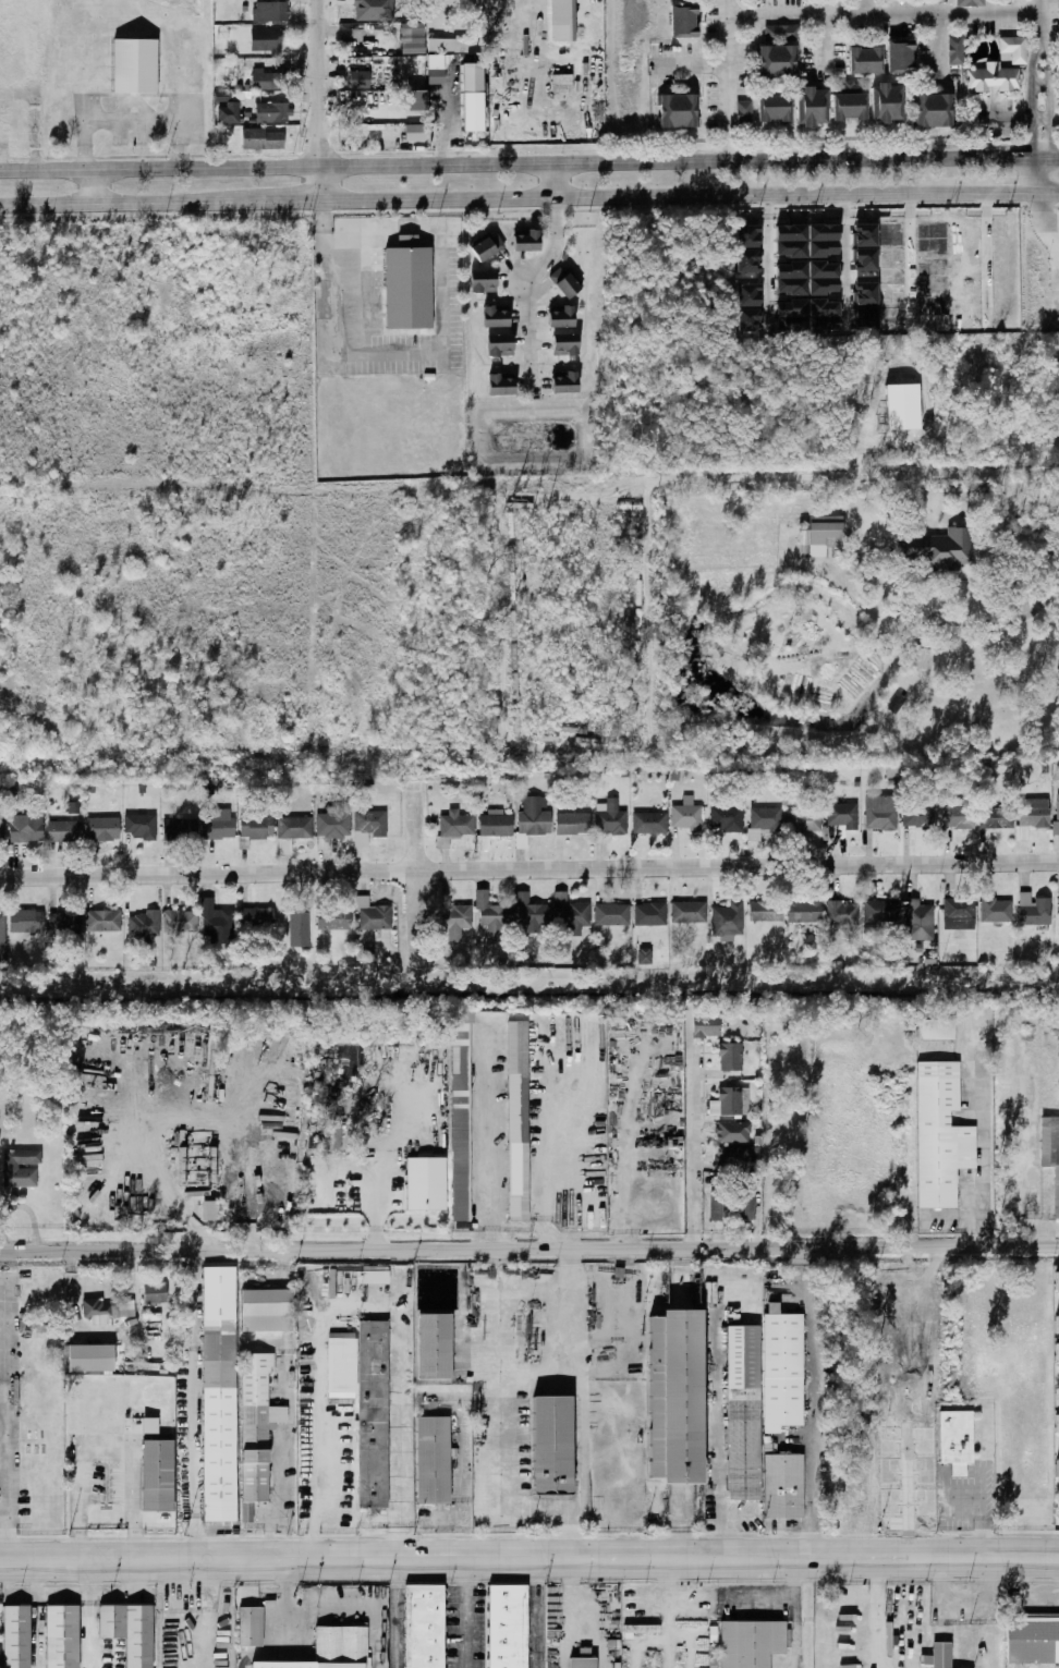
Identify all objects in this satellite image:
building: (969, 3)
building: (373, 10)
road: (728, 10)
road: (1037, 11)
building: (269, 12)
building: (561, 20)
road: (827, 20)
building: (682, 23)
building: (412, 38)
building: (264, 40)
building: (447, 46)
building: (1012, 49)
building: (954, 50)
building: (777, 52)
building: (899, 58)
building: (864, 60)
building: (133, 65)
building: (437, 69)
building: (357, 78)
building: (990, 78)
building: (268, 81)
building: (851, 87)
building: (472, 97)
road: (1033, 98)
road: (317, 99)
road: (1048, 100)
building: (886, 102)
building: (848, 106)
building: (811, 107)
building: (774, 108)
building: (678, 110)
building: (933, 110)
building: (266, 112)
building: (229, 113)
building: (742, 115)
building: (414, 132)
building: (260, 138)
road: (1039, 149)
road: (529, 163)
road: (1039, 172)
road: (550, 180)
road: (89, 185)
road: (989, 192)
road: (1049, 192)
road: (470, 196)
road: (845, 219)
road: (1052, 220)
road: (1047, 221)
building: (932, 230)
building: (789, 232)
building: (821, 232)
building: (864, 234)
building: (891, 234)
building: (748, 235)
building: (525, 241)
building: (487, 247)
building: (790, 247)
building: (933, 247)
building: (823, 248)
road: (769, 258)
building: (864, 258)
building: (890, 258)
building: (748, 259)
road: (440, 264)
building: (933, 267)
building: (823, 269)
building: (790, 270)
road: (528, 279)
building: (482, 281)
building: (563, 282)
building: (790, 285)
building: (823, 285)
building: (933, 285)
building: (407, 288)
building: (891, 292)
building: (864, 293)
building: (748, 295)
building: (933, 305)
building: (790, 307)
building: (823, 307)
building: (494, 316)
building: (560, 316)
building: (891, 317)
building: (864, 318)
building: (748, 319)
building: (790, 324)
building: (934, 324)
building: (824, 325)
building: (499, 344)
building: (564, 344)
building: (564, 382)
building: (499, 385)
building: (908, 404)
road: (776, 477)
building: (820, 536)
building: (939, 548)
road: (894, 619)
building: (1033, 812)
building: (880, 813)
building: (685, 814)
building: (1056, 814)
building: (534, 815)
building: (842, 815)
building: (917, 815)
building: (958, 816)
building: (609, 817)
building: (765, 817)
building: (995, 817)
building: (726, 818)
building: (331, 820)
building: (803, 820)
building: (369, 821)
building: (648, 821)
building: (495, 823)
building: (572, 823)
building: (139, 825)
building: (256, 825)
building: (217, 827)
building: (294, 827)
building: (21, 828)
building: (102, 828)
building: (179, 829)
building: (63, 830)
road: (529, 867)
road: (416, 874)
building: (1058, 904)
building: (995, 909)
building: (1033, 909)
building: (880, 910)
building: (689, 911)
building: (765, 911)
building: (803, 911)
building: (841, 912)
building: (649, 913)
building: (958, 913)
building: (372, 914)
building: (531, 914)
building: (570, 914)
building: (611, 914)
building: (492, 916)
building: (257, 917)
building: (215, 918)
building: (332, 918)
building: (457, 920)
building: (727, 920)
building: (917, 920)
building: (25, 921)
building: (102, 921)
building: (180, 921)
building: (63, 922)
building: (143, 926)
building: (299, 928)
building: (1, 936)
building: (644, 955)
building: (705, 1025)
building: (935, 1031)
building: (728, 1057)
building: (730, 1101)
building: (515, 1116)
building: (459, 1120)
road: (147, 1132)
building: (731, 1132)
building: (940, 1133)
road: (486, 1140)
road: (1032, 1145)
road: (691, 1146)
road: (544, 1154)
building: (1050, 1155)
building: (731, 1157)
building: (19, 1168)
road: (378, 1178)
building: (426, 1183)
building: (718, 1206)
building: (744, 1206)
building: (209, 1210)
road: (528, 1247)
building: (373, 1275)
building: (1056, 1279)
building: (155, 1293)
road: (1056, 1303)
building: (94, 1308)
building: (265, 1311)
road: (575, 1323)
building: (1057, 1324)
building: (433, 1346)
building: (1056, 1351)
building: (88, 1357)
building: (341, 1365)
building: (780, 1368)
road: (1057, 1375)
road: (317, 1392)
building: (217, 1395)
building: (674, 1396)
building: (1057, 1396)
road: (811, 1400)
road: (1, 1403)
road: (194, 1403)
road: (397, 1403)
building: (740, 1411)
building: (370, 1414)
building: (1057, 1423)
building: (149, 1425)
building: (254, 1429)
building: (954, 1436)
road: (108, 1441)
building: (550, 1444)
building: (430, 1460)
building: (1057, 1466)
building: (156, 1475)
road: (580, 1478)
building: (781, 1485)
road: (1055, 1507)
road: (78, 1543)
road: (133, 1543)
road: (529, 1557)
road: (570, 1596)
road: (304, 1611)
road: (794, 1611)
road: (33, 1612)
road: (87, 1612)
road: (394, 1612)
road: (464, 1612)
road: (533, 1612)
road: (669, 1612)
road: (877, 1612)
building: (422, 1626)
building: (503, 1626)
building: (249, 1627)
building: (127, 1631)
building: (14, 1636)
building: (60, 1636)
building: (1032, 1639)
building: (748, 1643)
building: (339, 1646)
building: (936, 1656)
building: (581, 1663)

